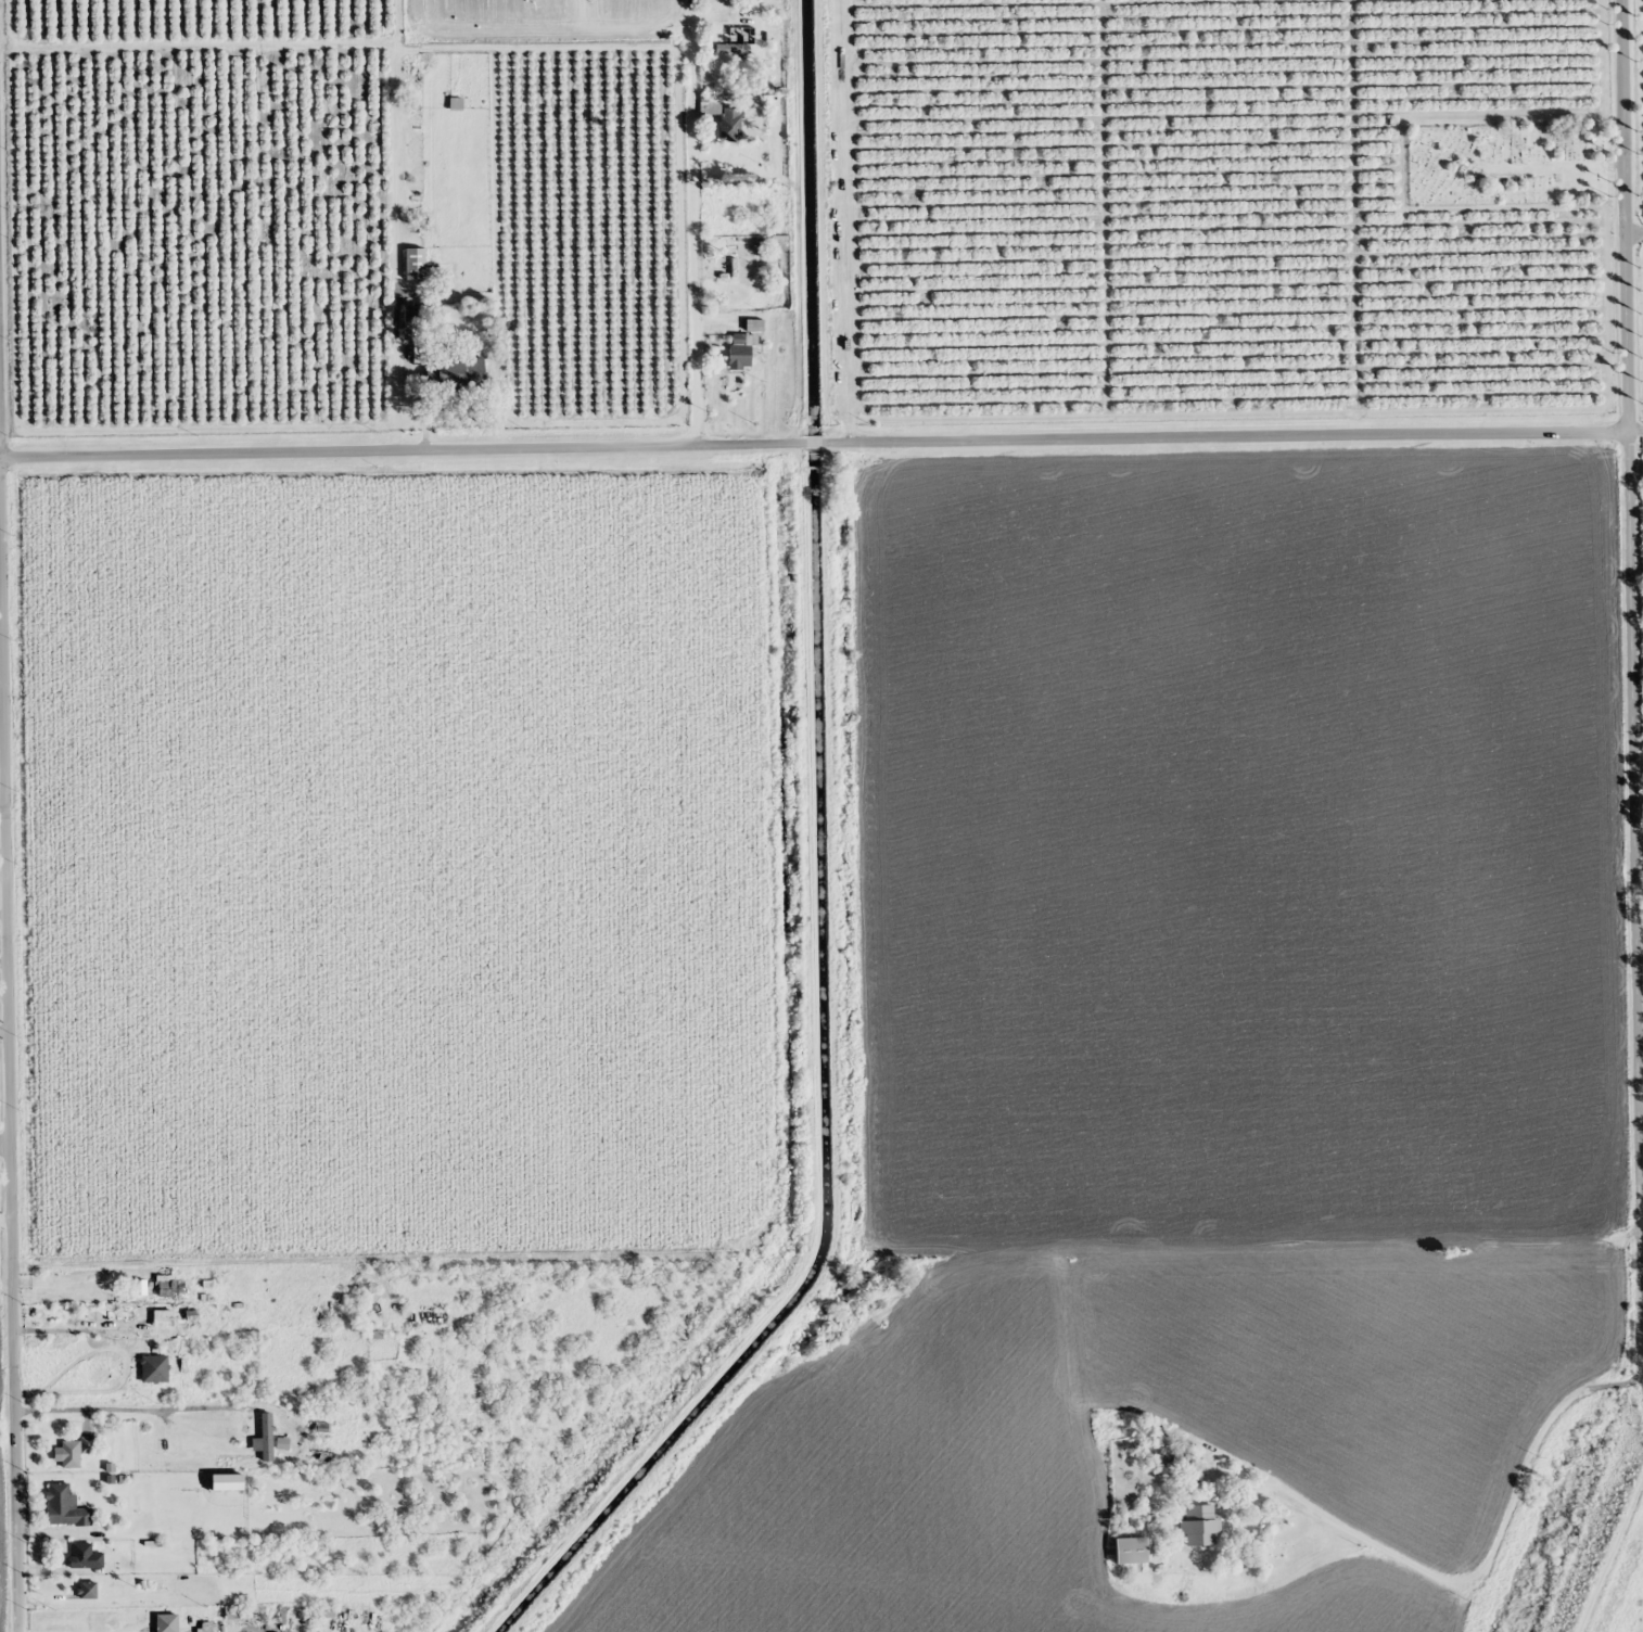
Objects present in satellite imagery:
building: (734, 49)
building: (416, 56)
building: (724, 117)
park: (1507, 160)
road: (1632, 226)
building: (416, 264)
building: (411, 323)
building: (743, 347)
building: (463, 374)
road: (1634, 430)
road: (1223, 438)
road: (812, 445)
road: (403, 450)
road: (1629, 687)
road: (3, 962)
road: (3, 999)
road: (3, 1030)
road: (9, 1107)
building: (170, 1287)
building: (68, 1295)
building: (275, 1312)
building: (120, 1317)
building: (155, 1368)
building: (320, 1439)
building: (279, 1440)
building: (75, 1451)
building: (191, 1463)
building: (65, 1507)
building: (1199, 1526)
road: (1610, 1547)
building: (1129, 1551)
building: (86, 1556)
building: (88, 1590)
building: (232, 1611)
building: (200, 1628)

